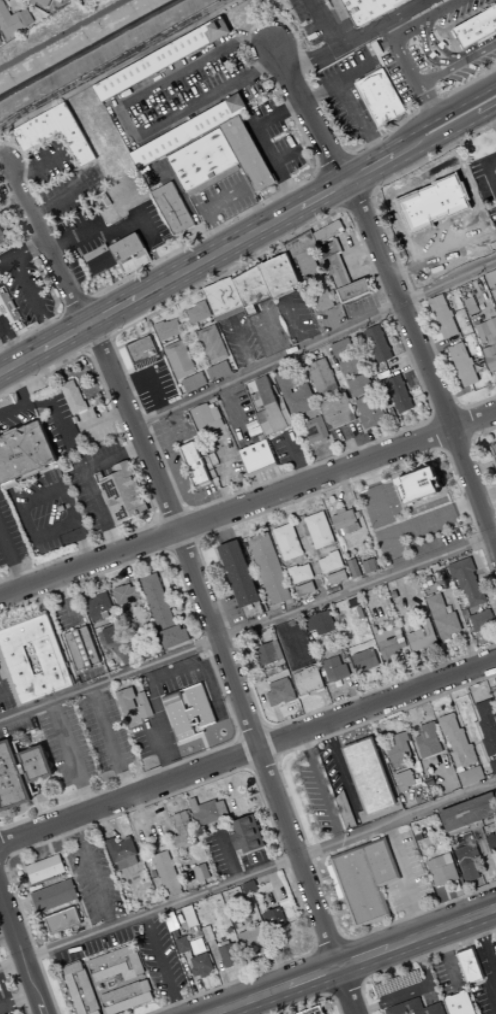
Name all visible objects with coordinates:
building: (58, 1)
building: (42, 2)
building: (368, 9)
road: (438, 11)
building: (13, 20)
road: (262, 21)
road: (325, 24)
building: (475, 28)
road: (404, 30)
road: (357, 37)
building: (1, 41)
road: (432, 49)
building: (162, 59)
road: (112, 62)
road: (458, 64)
road: (411, 71)
road: (338, 77)
road: (465, 91)
building: (379, 97)
road: (487, 111)
road: (310, 113)
road: (493, 115)
road: (122, 117)
road: (441, 117)
road: (362, 119)
road: (329, 120)
building: (188, 131)
building: (55, 134)
road: (438, 139)
road: (263, 143)
building: (247, 153)
road: (349, 153)
road: (287, 155)
building: (202, 159)
road: (25, 161)
road: (335, 162)
road: (2, 165)
road: (489, 165)
road: (35, 167)
road: (370, 169)
road: (320, 170)
road: (359, 173)
road: (335, 189)
road: (284, 192)
road: (372, 194)
road: (323, 195)
road: (65, 197)
road: (358, 200)
building: (442, 201)
road: (90, 206)
building: (174, 209)
road: (207, 209)
road: (347, 210)
road: (94, 225)
building: (328, 232)
road: (358, 233)
building: (3, 236)
building: (301, 245)
road: (445, 248)
road: (152, 250)
road: (21, 251)
road: (394, 252)
road: (218, 253)
building: (131, 254)
road: (463, 258)
building: (99, 259)
road: (354, 265)
road: (244, 268)
building: (341, 274)
building: (279, 276)
building: (491, 277)
building: (314, 281)
building: (495, 287)
building: (251, 290)
road: (192, 298)
road: (33, 299)
building: (223, 299)
road: (81, 304)
building: (471, 306)
building: (8, 307)
road: (1, 312)
road: (65, 312)
road: (114, 312)
building: (198, 312)
road: (164, 315)
road: (103, 316)
building: (443, 316)
road: (298, 322)
road: (332, 322)
road: (34, 329)
building: (167, 329)
road: (78, 330)
road: (137, 331)
road: (188, 331)
building: (487, 331)
road: (273, 335)
road: (113, 337)
road: (67, 338)
road: (9, 339)
road: (134, 341)
road: (100, 342)
road: (316, 343)
building: (212, 344)
building: (378, 344)
road: (244, 346)
building: (342, 348)
building: (142, 349)
road: (87, 351)
building: (490, 357)
building: (179, 359)
road: (405, 361)
road: (21, 362)
road: (200, 362)
road: (424, 362)
building: (463, 364)
building: (351, 366)
building: (218, 371)
building: (321, 377)
road: (150, 378)
building: (193, 382)
building: (359, 385)
building: (294, 394)
building: (399, 394)
road: (418, 395)
building: (73, 397)
road: (23, 399)
building: (270, 407)
road: (461, 408)
building: (336, 411)
building: (370, 411)
road: (235, 413)
road: (448, 415)
building: (206, 417)
road: (433, 418)
road: (103, 419)
building: (76, 420)
road: (465, 424)
building: (315, 430)
road: (381, 432)
road: (441, 433)
road: (457, 443)
road: (333, 446)
building: (25, 452)
building: (493, 452)
building: (257, 458)
road: (297, 458)
road: (478, 462)
building: (195, 464)
road: (490, 465)
road: (140, 467)
building: (99, 475)
road: (89, 481)
building: (421, 488)
road: (347, 489)
building: (123, 494)
road: (487, 496)
road: (230, 497)
road: (67, 500)
road: (248, 506)
parking lot: (47, 512)
road: (177, 515)
building: (344, 518)
road: (21, 519)
road: (159, 520)
road: (265, 522)
road: (299, 523)
road: (52, 528)
road: (224, 528)
building: (319, 530)
parking lot: (10, 534)
road: (167, 535)
road: (306, 539)
road: (199, 540)
building: (288, 542)
road: (185, 543)
road: (171, 550)
road: (308, 550)
road: (318, 557)
road: (41, 558)
road: (203, 559)
road: (11, 560)
road: (190, 561)
road: (156, 562)
building: (331, 562)
road: (126, 566)
building: (370, 566)
building: (269, 568)
building: (354, 568)
building: (238, 574)
building: (301, 574)
road: (484, 574)
building: (337, 577)
road: (312, 579)
building: (466, 580)
road: (489, 588)
building: (305, 589)
building: (125, 594)
road: (68, 601)
building: (158, 602)
building: (99, 607)
road: (190, 614)
building: (443, 618)
building: (482, 620)
building: (321, 623)
building: (98, 628)
road: (248, 628)
road: (462, 628)
building: (116, 633)
building: (108, 635)
building: (173, 636)
building: (422, 637)
road: (289, 642)
building: (390, 642)
building: (82, 649)
building: (266, 651)
building: (32, 659)
building: (365, 660)
road: (249, 661)
building: (335, 669)
road: (424, 669)
road: (411, 670)
road: (219, 678)
building: (308, 681)
road: (382, 683)
road: (216, 689)
road: (4, 691)
building: (281, 692)
road: (354, 695)
building: (126, 700)
road: (325, 700)
road: (472, 703)
building: (144, 706)
building: (185, 711)
road: (460, 721)
road: (281, 722)
road: (380, 726)
building: (488, 726)
road: (268, 729)
road: (478, 731)
building: (426, 733)
road: (254, 736)
road: (240, 738)
building: (458, 740)
road: (111, 741)
road: (477, 743)
road: (271, 744)
building: (431, 750)
building: (399, 751)
road: (248, 752)
road: (247, 753)
road: (297, 755)
road: (479, 755)
road: (71, 756)
road: (278, 758)
road: (486, 758)
road: (264, 761)
building: (39, 765)
road: (342, 766)
building: (493, 766)
road: (251, 768)
building: (25, 770)
road: (224, 775)
building: (368, 775)
building: (471, 776)
building: (12, 779)
building: (404, 779)
road: (189, 786)
road: (322, 786)
road: (230, 787)
road: (411, 805)
road: (37, 809)
building: (208, 811)
building: (345, 811)
building: (380, 812)
building: (468, 812)
road: (143, 814)
road: (297, 815)
road: (168, 817)
road: (103, 823)
road: (173, 826)
road: (119, 827)
building: (183, 832)
building: (246, 835)
building: (419, 837)
building: (491, 842)
building: (429, 843)
road: (155, 844)
road: (50, 848)
road: (485, 850)
building: (122, 853)
road: (228, 854)
road: (1, 855)
road: (482, 856)
road: (494, 856)
road: (1, 859)
road: (4, 860)
building: (468, 861)
building: (149, 863)
building: (46, 869)
building: (442, 870)
road: (93, 871)
building: (166, 872)
road: (483, 872)
road: (494, 872)
building: (201, 873)
road: (247, 876)
road: (490, 876)
road: (328, 878)
road: (408, 879)
building: (365, 880)
road: (75, 883)
road: (279, 886)
building: (456, 886)
building: (249, 887)
road: (43, 888)
road: (447, 893)
building: (56, 897)
road: (337, 901)
road: (463, 904)
road: (244, 905)
road: (393, 913)
building: (189, 916)
building: (276, 917)
building: (64, 920)
building: (205, 923)
road: (249, 924)
road: (495, 932)
building: (208, 934)
road: (7, 936)
road: (344, 938)
building: (254, 941)
road: (286, 944)
building: (183, 945)
road: (331, 946)
road: (317, 949)
road: (21, 953)
road: (490, 954)
building: (229, 955)
road: (449, 958)
road: (351, 961)
road: (354, 961)
road: (414, 961)
road: (163, 964)
building: (118, 965)
building: (470, 965)
building: (201, 966)
road: (235, 967)
road: (326, 970)
road: (275, 971)
road: (14, 973)
road: (222, 974)
road: (89, 976)
road: (131, 982)
road: (362, 983)
road: (346, 987)
road: (5, 989)
building: (82, 989)
road: (348, 989)
road: (418, 990)
road: (332, 993)
building: (128, 997)
road: (311, 999)
road: (18, 1001)
road: (279, 1002)
building: (459, 1003)
road: (257, 1006)
building: (415, 1008)
building: (313, 1011)

